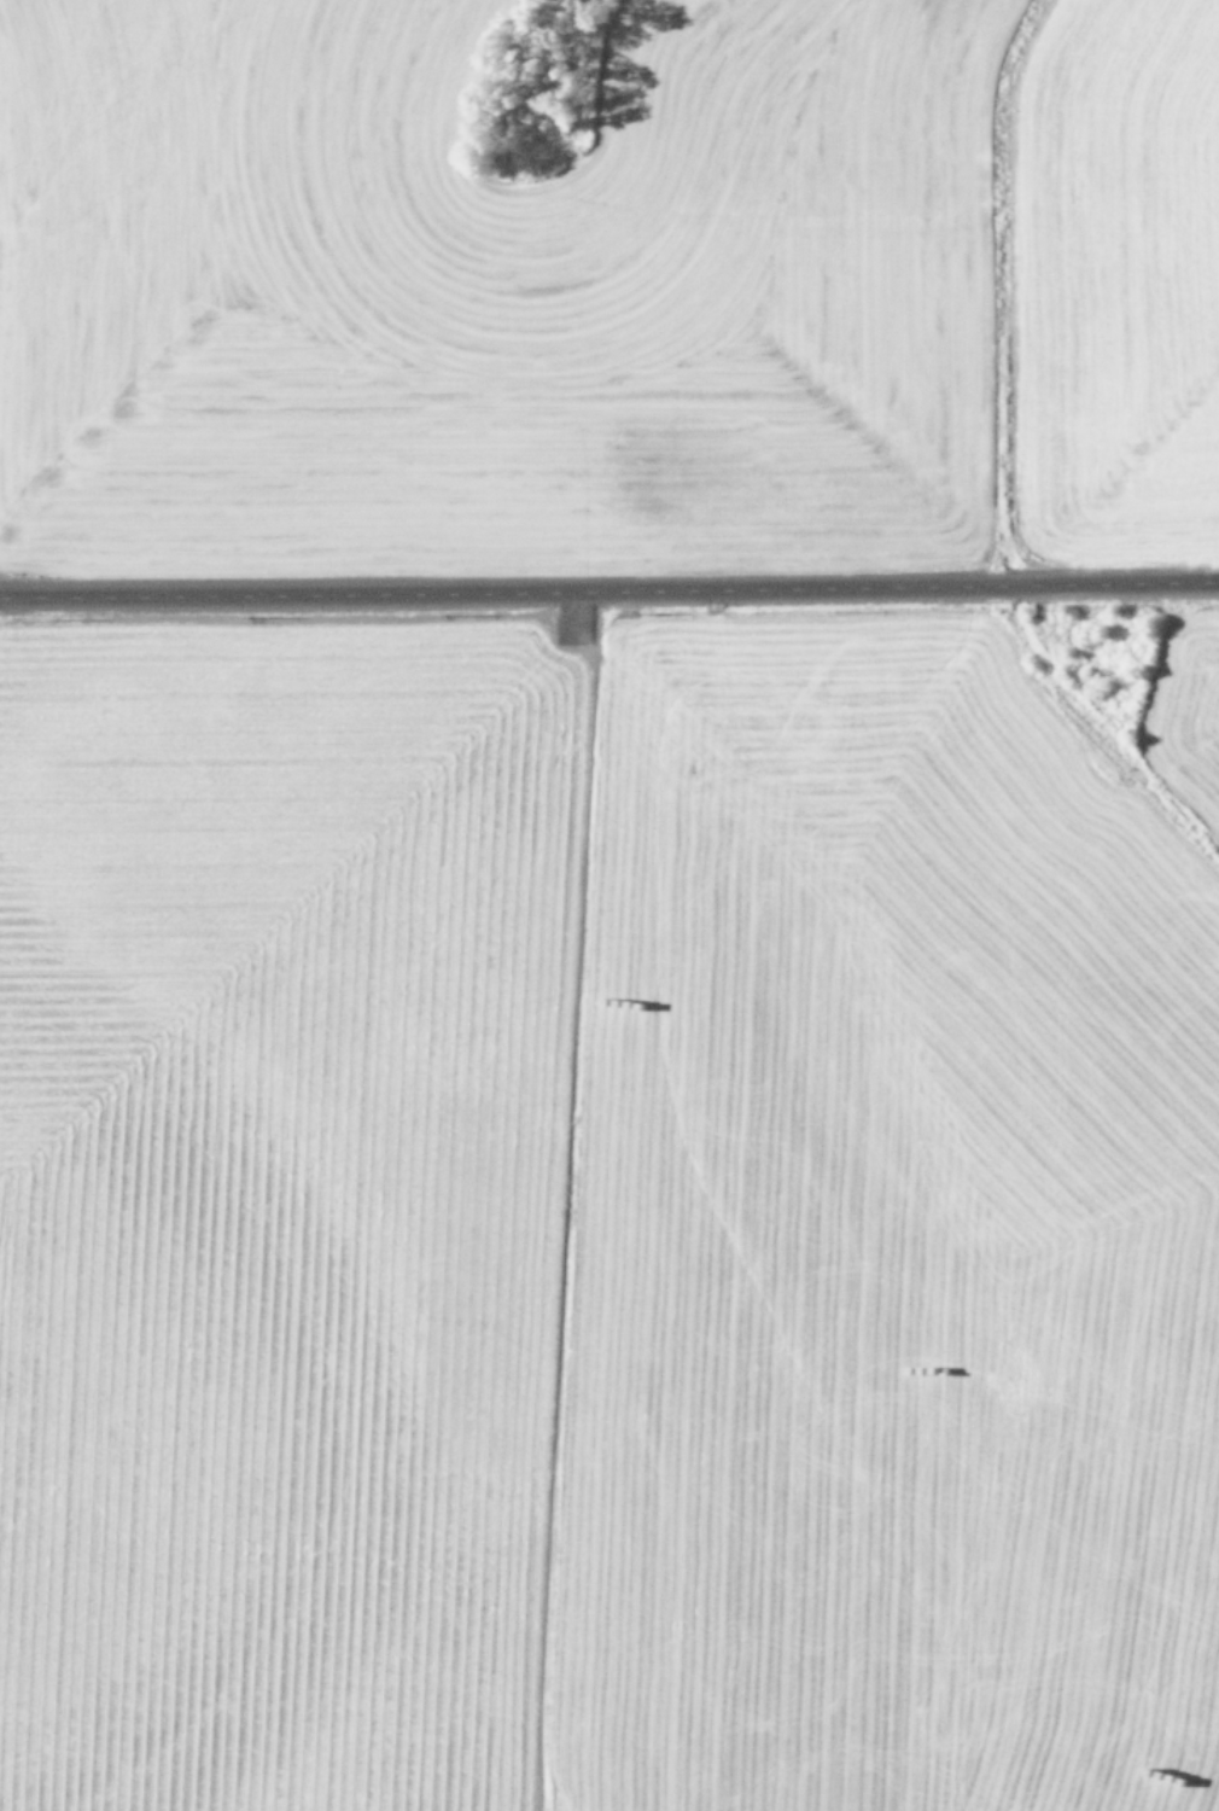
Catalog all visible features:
road: (609, 594)
crop: (609, 905)

